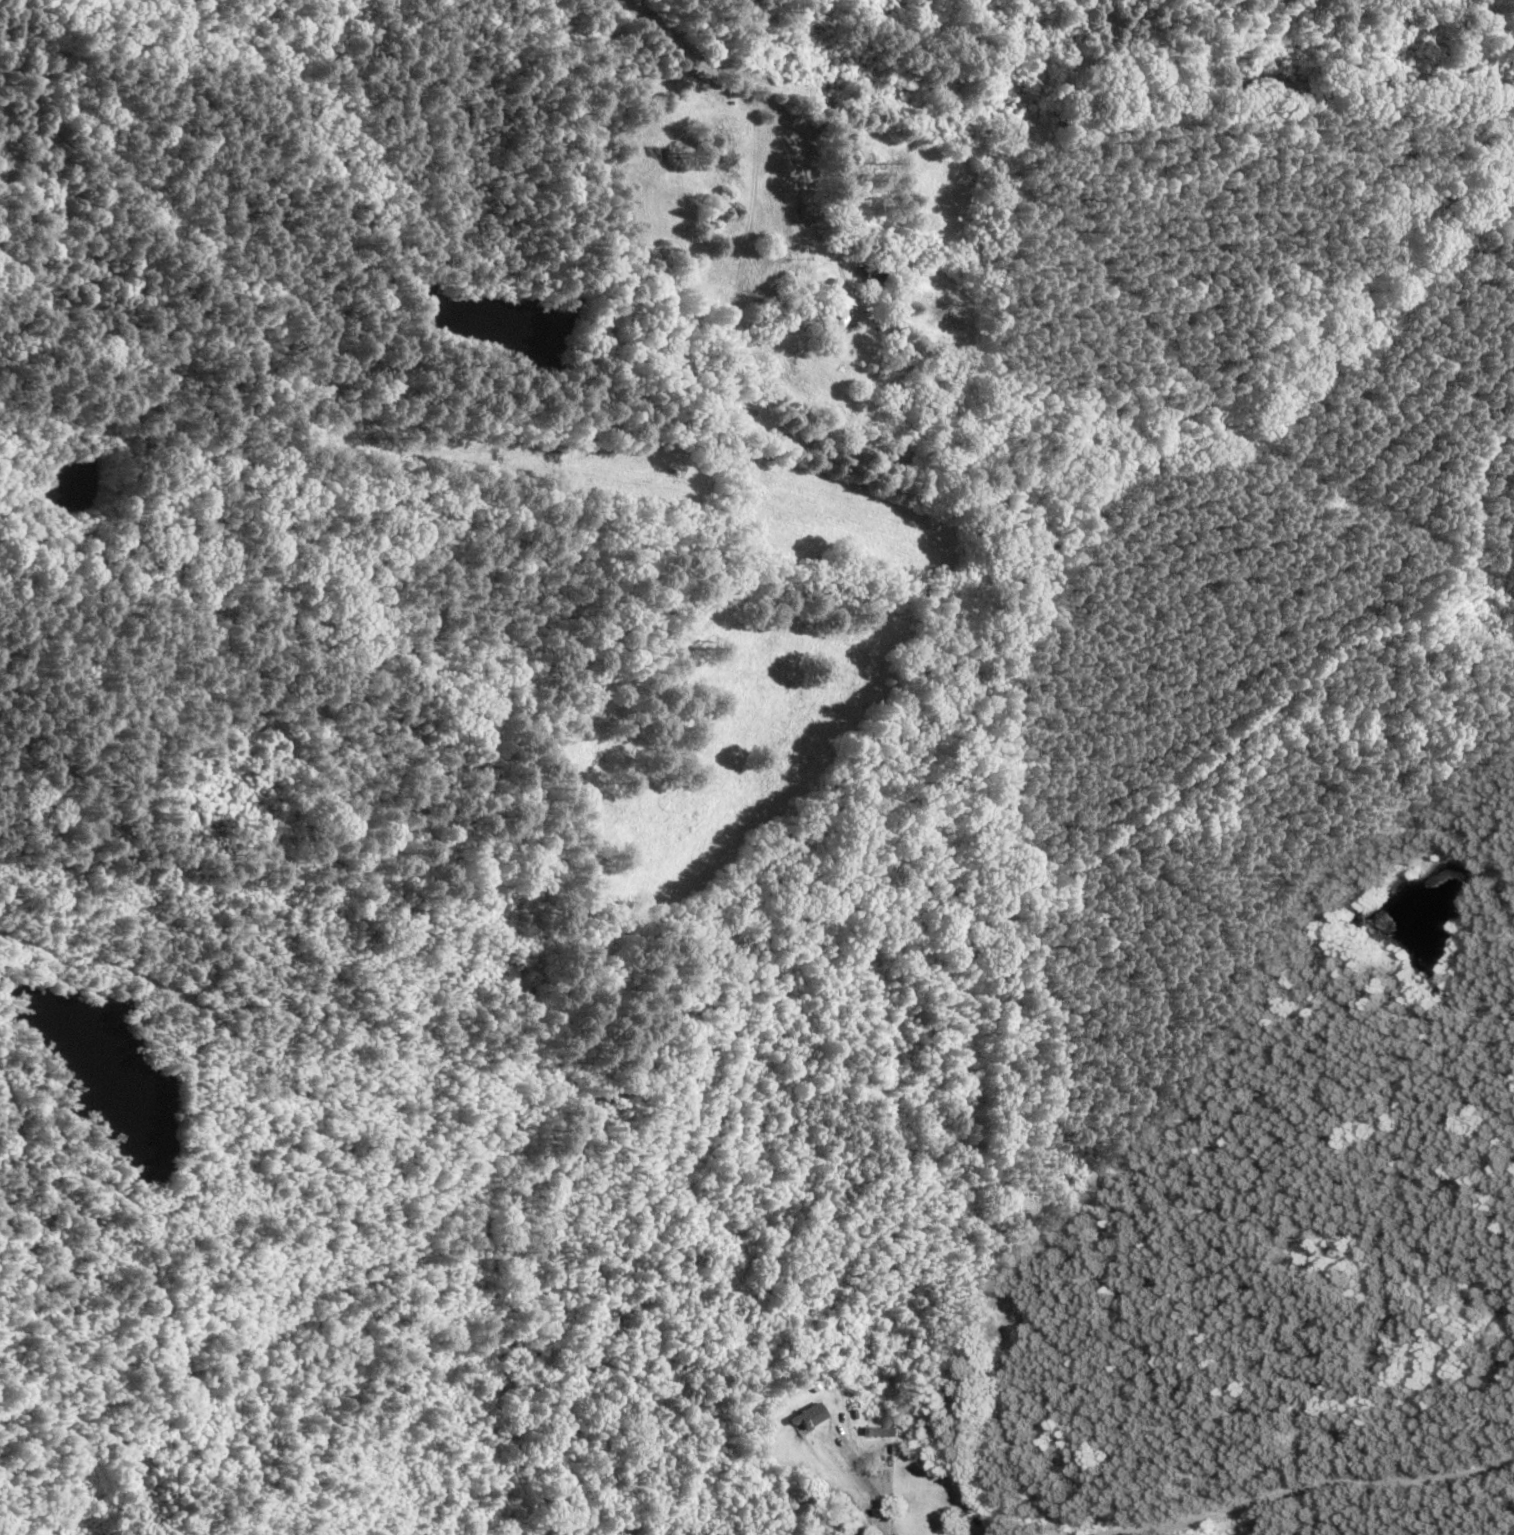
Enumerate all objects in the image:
road: (803, 98)
building: (806, 124)
building: (871, 273)
building: (833, 310)
building: (804, 1420)
building: (885, 1430)
road: (888, 1470)
road: (870, 1484)
road: (1314, 1487)

